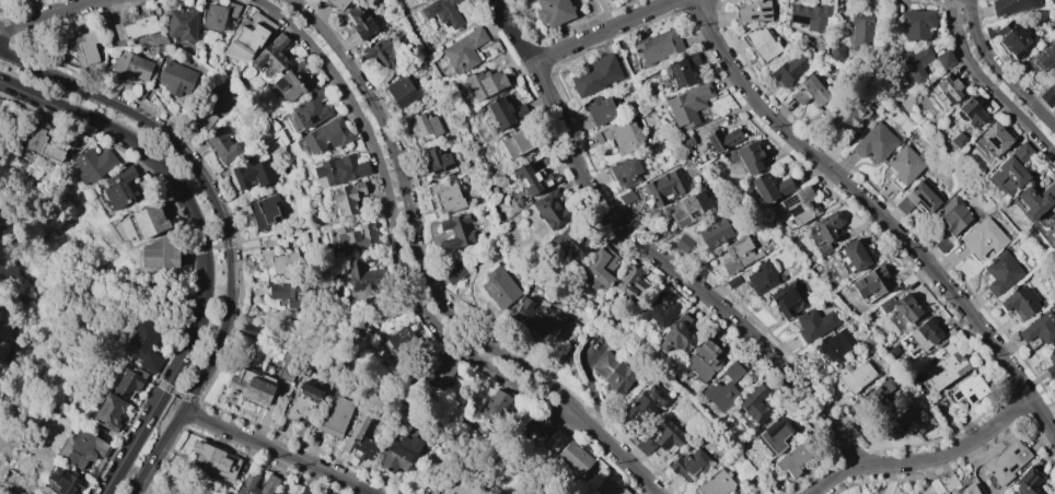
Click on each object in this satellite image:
building: (323, 0)
building: (606, 0)
building: (338, 3)
building: (1012, 5)
building: (752, 11)
building: (441, 12)
building: (553, 12)
road: (50, 15)
building: (219, 15)
building: (810, 15)
building: (360, 23)
building: (917, 23)
building: (181, 24)
building: (137, 25)
building: (860, 30)
road: (607, 32)
building: (246, 37)
building: (1013, 39)
building: (762, 43)
building: (82, 46)
building: (657, 46)
building: (463, 49)
building: (836, 52)
building: (383, 54)
building: (271, 55)
building: (1046, 56)
building: (943, 59)
building: (915, 62)
building: (131, 67)
building: (789, 68)
building: (682, 70)
road: (999, 70)
building: (595, 75)
building: (175, 78)
building: (293, 81)
building: (485, 83)
road: (989, 85)
building: (948, 89)
building: (403, 90)
building: (809, 91)
building: (1048, 95)
building: (687, 104)
building: (311, 108)
building: (600, 110)
building: (505, 111)
building: (969, 113)
building: (848, 116)
building: (204, 118)
building: (424, 125)
building: (326, 134)
building: (625, 136)
building: (995, 137)
building: (721, 138)
building: (959, 140)
building: (682, 141)
building: (877, 141)
building: (514, 142)
building: (40, 143)
building: (222, 144)
building: (744, 157)
building: (439, 161)
building: (905, 164)
building: (92, 165)
building: (340, 169)
building: (625, 172)
building: (1010, 172)
building: (223, 173)
building: (253, 173)
building: (531, 179)
building: (664, 187)
building: (118, 188)
building: (769, 188)
building: (444, 196)
building: (348, 197)
building: (918, 197)
building: (1033, 201)
building: (797, 205)
building: (550, 209)
building: (689, 209)
building: (1052, 209)
building: (264, 211)
road: (879, 212)
building: (951, 216)
building: (149, 219)
road: (416, 222)
road: (395, 224)
building: (1054, 225)
road: (221, 226)
building: (826, 231)
building: (455, 232)
building: (715, 233)
road: (283, 234)
building: (358, 237)
building: (983, 237)
road: (204, 243)
building: (571, 243)
building: (683, 243)
building: (941, 244)
road: (649, 251)
building: (738, 254)
building: (160, 255)
building: (854, 255)
building: (278, 258)
building: (599, 267)
building: (453, 270)
building: (1001, 272)
building: (762, 277)
building: (361, 279)
building: (733, 281)
building: (629, 282)
building: (872, 282)
building: (499, 286)
building: (289, 294)
building: (788, 298)
building: (1020, 302)
building: (901, 307)
building: (657, 309)
building: (536, 319)
building: (1, 321)
building: (899, 321)
building: (814, 324)
building: (1039, 328)
building: (250, 331)
building: (677, 334)
building: (926, 334)
building: (405, 339)
building: (142, 344)
building: (835, 345)
building: (702, 362)
building: (287, 365)
building: (1051, 365)
building: (944, 367)
building: (441, 369)
building: (612, 372)
building: (855, 376)
building: (129, 381)
building: (251, 385)
building: (723, 388)
building: (967, 389)
building: (879, 399)
building: (301, 401)
building: (646, 403)
building: (753, 405)
building: (498, 409)
building: (109, 412)
building: (335, 413)
building: (533, 422)
building: (904, 423)
building: (774, 434)
building: (668, 435)
building: (359, 437)
building: (553, 442)
building: (645, 445)
building: (84, 448)
road: (277, 450)
road: (617, 451)
building: (399, 454)
building: (573, 457)
building: (792, 459)
road: (927, 459)
building: (213, 460)
building: (1006, 462)
building: (689, 464)
building: (66, 481)
building: (947, 482)
building: (1029, 482)
building: (269, 483)
building: (715, 483)
building: (453, 487)
building: (607, 487)
building: (305, 490)
building: (964, 490)
building: (174, 492)
building: (468, 492)
building: (498, 492)
building: (276, 493)
building: (743, 493)

